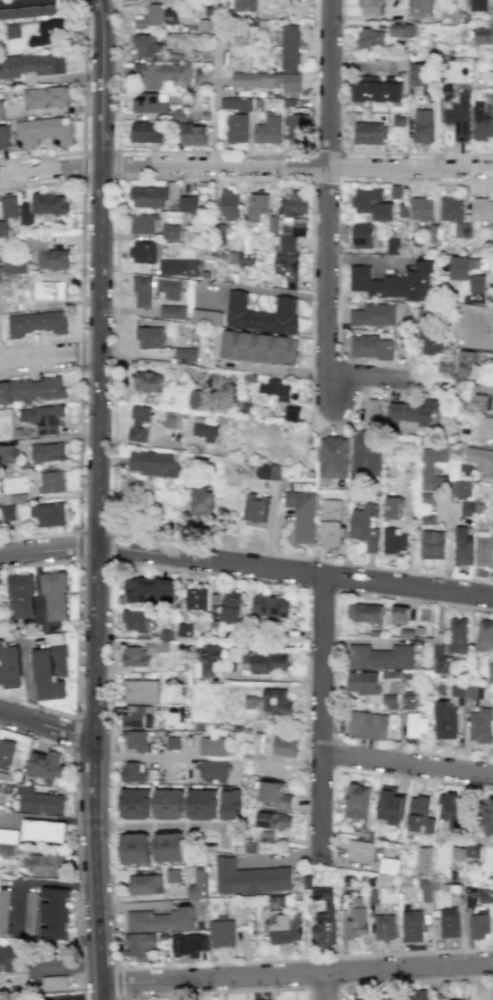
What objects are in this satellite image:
building: (244, 5)
building: (477, 5)
building: (370, 6)
building: (27, 8)
building: (420, 8)
building: (151, 17)
building: (401, 30)
building: (12, 31)
building: (50, 33)
building: (483, 34)
building: (368, 38)
building: (146, 45)
building: (290, 47)
building: (490, 63)
building: (31, 64)
building: (161, 75)
building: (490, 77)
building: (418, 79)
building: (267, 80)
road: (217, 83)
building: (376, 89)
building: (46, 97)
building: (149, 102)
building: (236, 103)
building: (1, 110)
building: (458, 116)
road: (83, 117)
building: (481, 122)
building: (422, 126)
building: (237, 127)
building: (296, 128)
building: (268, 129)
building: (43, 132)
building: (145, 132)
building: (368, 133)
building: (193, 134)
building: (4, 137)
road: (100, 151)
road: (214, 151)
road: (340, 152)
road: (117, 164)
road: (83, 166)
road: (298, 167)
road: (51, 169)
road: (98, 179)
road: (338, 180)
road: (337, 184)
building: (147, 197)
building: (365, 199)
building: (49, 203)
building: (188, 203)
building: (229, 205)
building: (8, 206)
building: (258, 206)
building: (421, 208)
building: (482, 209)
building: (382, 211)
building: (25, 213)
building: (454, 214)
building: (294, 217)
building: (144, 223)
building: (3, 228)
building: (170, 231)
building: (361, 235)
road: (328, 243)
building: (143, 252)
building: (47, 253)
road: (81, 257)
building: (242, 258)
building: (14, 266)
building: (178, 267)
building: (286, 269)
building: (466, 272)
building: (393, 282)
building: (169, 288)
building: (50, 290)
building: (142, 292)
building: (171, 312)
building: (261, 313)
building: (372, 315)
building: (205, 317)
building: (36, 323)
road: (310, 333)
building: (427, 333)
building: (149, 337)
building: (363, 345)
building: (258, 347)
building: (386, 349)
road: (80, 353)
building: (185, 354)
road: (50, 356)
road: (100, 369)
building: (146, 381)
building: (37, 389)
building: (276, 389)
building: (4, 392)
building: (484, 395)
building: (195, 397)
building: (413, 413)
building: (42, 418)
building: (172, 420)
building: (139, 423)
building: (205, 429)
building: (485, 429)
road: (78, 448)
road: (111, 450)
building: (46, 452)
building: (365, 453)
building: (7, 454)
building: (332, 457)
building: (481, 460)
building: (152, 463)
building: (427, 468)
building: (267, 471)
building: (50, 482)
building: (461, 487)
building: (16, 498)
building: (427, 498)
building: (200, 500)
building: (393, 506)
building: (256, 507)
building: (7, 512)
building: (47, 514)
building: (301, 515)
building: (428, 518)
building: (331, 523)
building: (364, 525)
road: (94, 531)
building: (395, 540)
building: (432, 544)
road: (78, 545)
building: (462, 545)
road: (109, 546)
building: (484, 550)
road: (93, 560)
road: (246, 563)
road: (206, 573)
building: (148, 590)
building: (21, 595)
building: (55, 595)
building: (195, 598)
road: (425, 602)
building: (270, 604)
building: (230, 606)
building: (365, 613)
building: (399, 614)
building: (136, 619)
building: (184, 632)
building: (166, 634)
building: (484, 634)
building: (458, 635)
road: (76, 638)
building: (134, 656)
building: (380, 657)
building: (441, 659)
building: (209, 660)
building: (9, 666)
building: (49, 672)
building: (490, 672)
road: (276, 677)
building: (363, 682)
building: (140, 690)
building: (465, 690)
building: (276, 701)
building: (407, 701)
road: (318, 711)
building: (134, 716)
building: (444, 720)
road: (46, 725)
building: (367, 725)
building: (417, 725)
building: (480, 725)
road: (73, 732)
building: (134, 740)
building: (171, 742)
building: (257, 742)
building: (211, 745)
building: (283, 746)
building: (6, 754)
road: (447, 754)
road: (142, 756)
building: (47, 765)
road: (109, 765)
road: (405, 765)
building: (211, 768)
building: (131, 771)
road: (436, 781)
building: (273, 795)
building: (357, 801)
building: (50, 802)
building: (228, 804)
building: (135, 805)
building: (167, 805)
building: (389, 805)
building: (200, 806)
building: (450, 810)
building: (419, 815)
building: (487, 816)
road: (160, 826)
building: (44, 831)
building: (9, 836)
road: (76, 837)
building: (167, 849)
building: (134, 850)
building: (361, 850)
building: (457, 853)
building: (472, 853)
building: (423, 861)
building: (49, 865)
building: (388, 865)
road: (95, 869)
building: (171, 878)
building: (249, 879)
building: (306, 884)
building: (144, 886)
building: (197, 887)
building: (4, 910)
building: (54, 913)
building: (29, 915)
building: (325, 917)
building: (358, 918)
building: (159, 921)
building: (449, 922)
building: (269, 923)
building: (413, 926)
building: (480, 926)
building: (385, 927)
building: (285, 928)
building: (222, 933)
building: (139, 947)
building: (187, 947)
building: (8, 958)
road: (304, 958)
road: (66, 967)
road: (297, 975)
building: (53, 981)
road: (406, 981)
road: (116, 983)
road: (322, 986)
road: (324, 986)
road: (218, 992)
building: (416, 995)
road: (59, 997)
building: (359, 997)
building: (396, 998)

